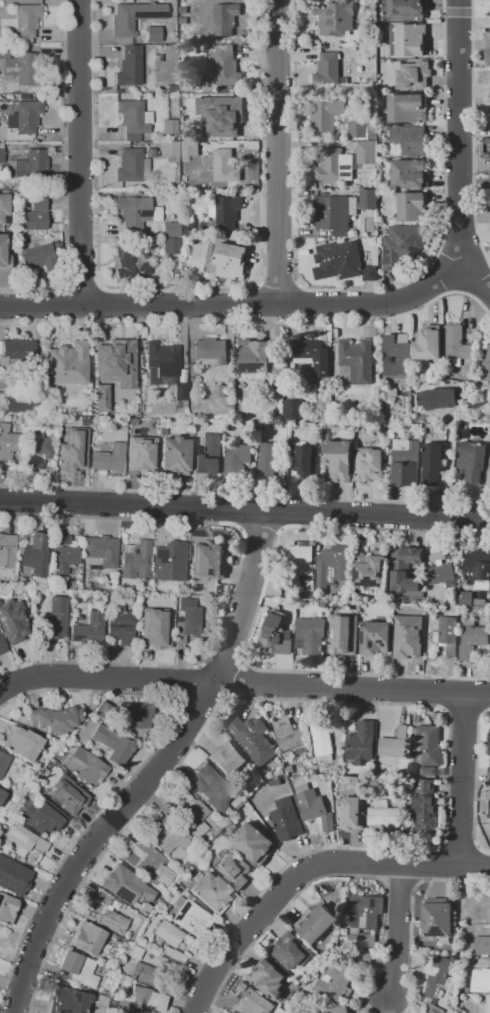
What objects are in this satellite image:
building: (384, 0)
building: (407, 9)
building: (135, 16)
building: (334, 17)
building: (225, 18)
building: (27, 20)
building: (367, 31)
building: (153, 34)
building: (392, 39)
building: (411, 39)
building: (488, 52)
building: (130, 66)
building: (225, 66)
building: (20, 67)
building: (328, 70)
building: (414, 75)
building: (408, 108)
building: (326, 113)
building: (26, 116)
building: (222, 117)
building: (133, 118)
building: (169, 126)
building: (358, 128)
road: (459, 135)
building: (409, 139)
building: (169, 148)
building: (189, 148)
road: (79, 151)
road: (276, 151)
building: (1, 153)
building: (345, 161)
building: (134, 164)
building: (225, 165)
building: (28, 167)
road: (60, 172)
building: (410, 173)
building: (489, 180)
building: (38, 203)
building: (412, 206)
building: (4, 207)
building: (341, 208)
building: (226, 210)
building: (136, 211)
building: (34, 220)
building: (170, 229)
building: (186, 229)
building: (401, 243)
building: (170, 245)
building: (3, 256)
building: (39, 256)
building: (230, 260)
building: (342, 261)
building: (132, 263)
road: (253, 302)
road: (253, 320)
building: (428, 343)
building: (456, 344)
building: (211, 351)
building: (393, 352)
building: (311, 353)
building: (14, 356)
building: (258, 356)
building: (484, 358)
building: (113, 359)
building: (357, 359)
building: (162, 361)
building: (68, 364)
building: (180, 390)
building: (220, 390)
building: (392, 392)
building: (100, 397)
building: (438, 398)
building: (23, 404)
building: (293, 410)
building: (37, 441)
building: (8, 443)
building: (69, 444)
building: (143, 451)
building: (174, 455)
building: (209, 455)
building: (109, 458)
building: (267, 458)
building: (237, 459)
building: (304, 459)
building: (338, 459)
building: (472, 460)
building: (35, 462)
building: (405, 462)
building: (432, 463)
building: (369, 464)
building: (489, 465)
road: (445, 467)
road: (244, 495)
road: (244, 514)
building: (63, 540)
building: (7, 550)
building: (35, 550)
building: (100, 551)
building: (65, 558)
building: (207, 559)
building: (136, 560)
building: (169, 561)
building: (297, 564)
building: (477, 564)
building: (332, 565)
building: (370, 568)
building: (405, 568)
building: (440, 569)
road: (235, 580)
building: (465, 597)
building: (163, 601)
building: (56, 618)
building: (12, 620)
building: (187, 620)
building: (120, 624)
building: (161, 628)
building: (90, 629)
building: (276, 634)
building: (448, 634)
building: (311, 635)
building: (408, 636)
building: (345, 637)
building: (472, 637)
building: (375, 638)
building: (1, 646)
road: (166, 680)
road: (244, 684)
road: (1, 691)
road: (132, 694)
road: (371, 703)
building: (103, 711)
building: (135, 715)
building: (54, 719)
building: (252, 737)
building: (291, 737)
building: (323, 740)
building: (489, 740)
building: (21, 742)
building: (362, 742)
building: (394, 743)
building: (113, 744)
building: (427, 747)
building: (229, 759)
building: (4, 763)
building: (85, 766)
building: (429, 770)
building: (489, 771)
road: (158, 772)
road: (462, 778)
building: (275, 781)
building: (425, 785)
building: (211, 787)
building: (58, 791)
building: (489, 794)
building: (2, 795)
building: (73, 804)
building: (313, 805)
building: (351, 812)
building: (192, 813)
building: (426, 814)
building: (385, 815)
building: (43, 817)
building: (286, 819)
building: (167, 837)
building: (24, 840)
building: (254, 843)
building: (149, 862)
road: (403, 863)
building: (234, 869)
building: (13, 876)
road: (46, 888)
building: (121, 889)
building: (210, 891)
building: (467, 899)
building: (489, 907)
building: (7, 909)
building: (145, 911)
building: (188, 912)
building: (105, 914)
building: (364, 917)
building: (437, 917)
building: (316, 922)
building: (344, 930)
road: (399, 930)
road: (250, 931)
building: (167, 932)
building: (87, 938)
building: (482, 944)
building: (291, 950)
building: (134, 952)
building: (174, 954)
building: (361, 958)
road: (201, 959)
building: (78, 968)
building: (152, 973)
building: (436, 973)
road: (43, 978)
building: (267, 978)
building: (481, 980)
building: (334, 983)
building: (250, 1000)
building: (70, 1001)
building: (142, 1001)
building: (485, 1006)
building: (435, 1009)
building: (338, 1010)
building: (317, 1012)

